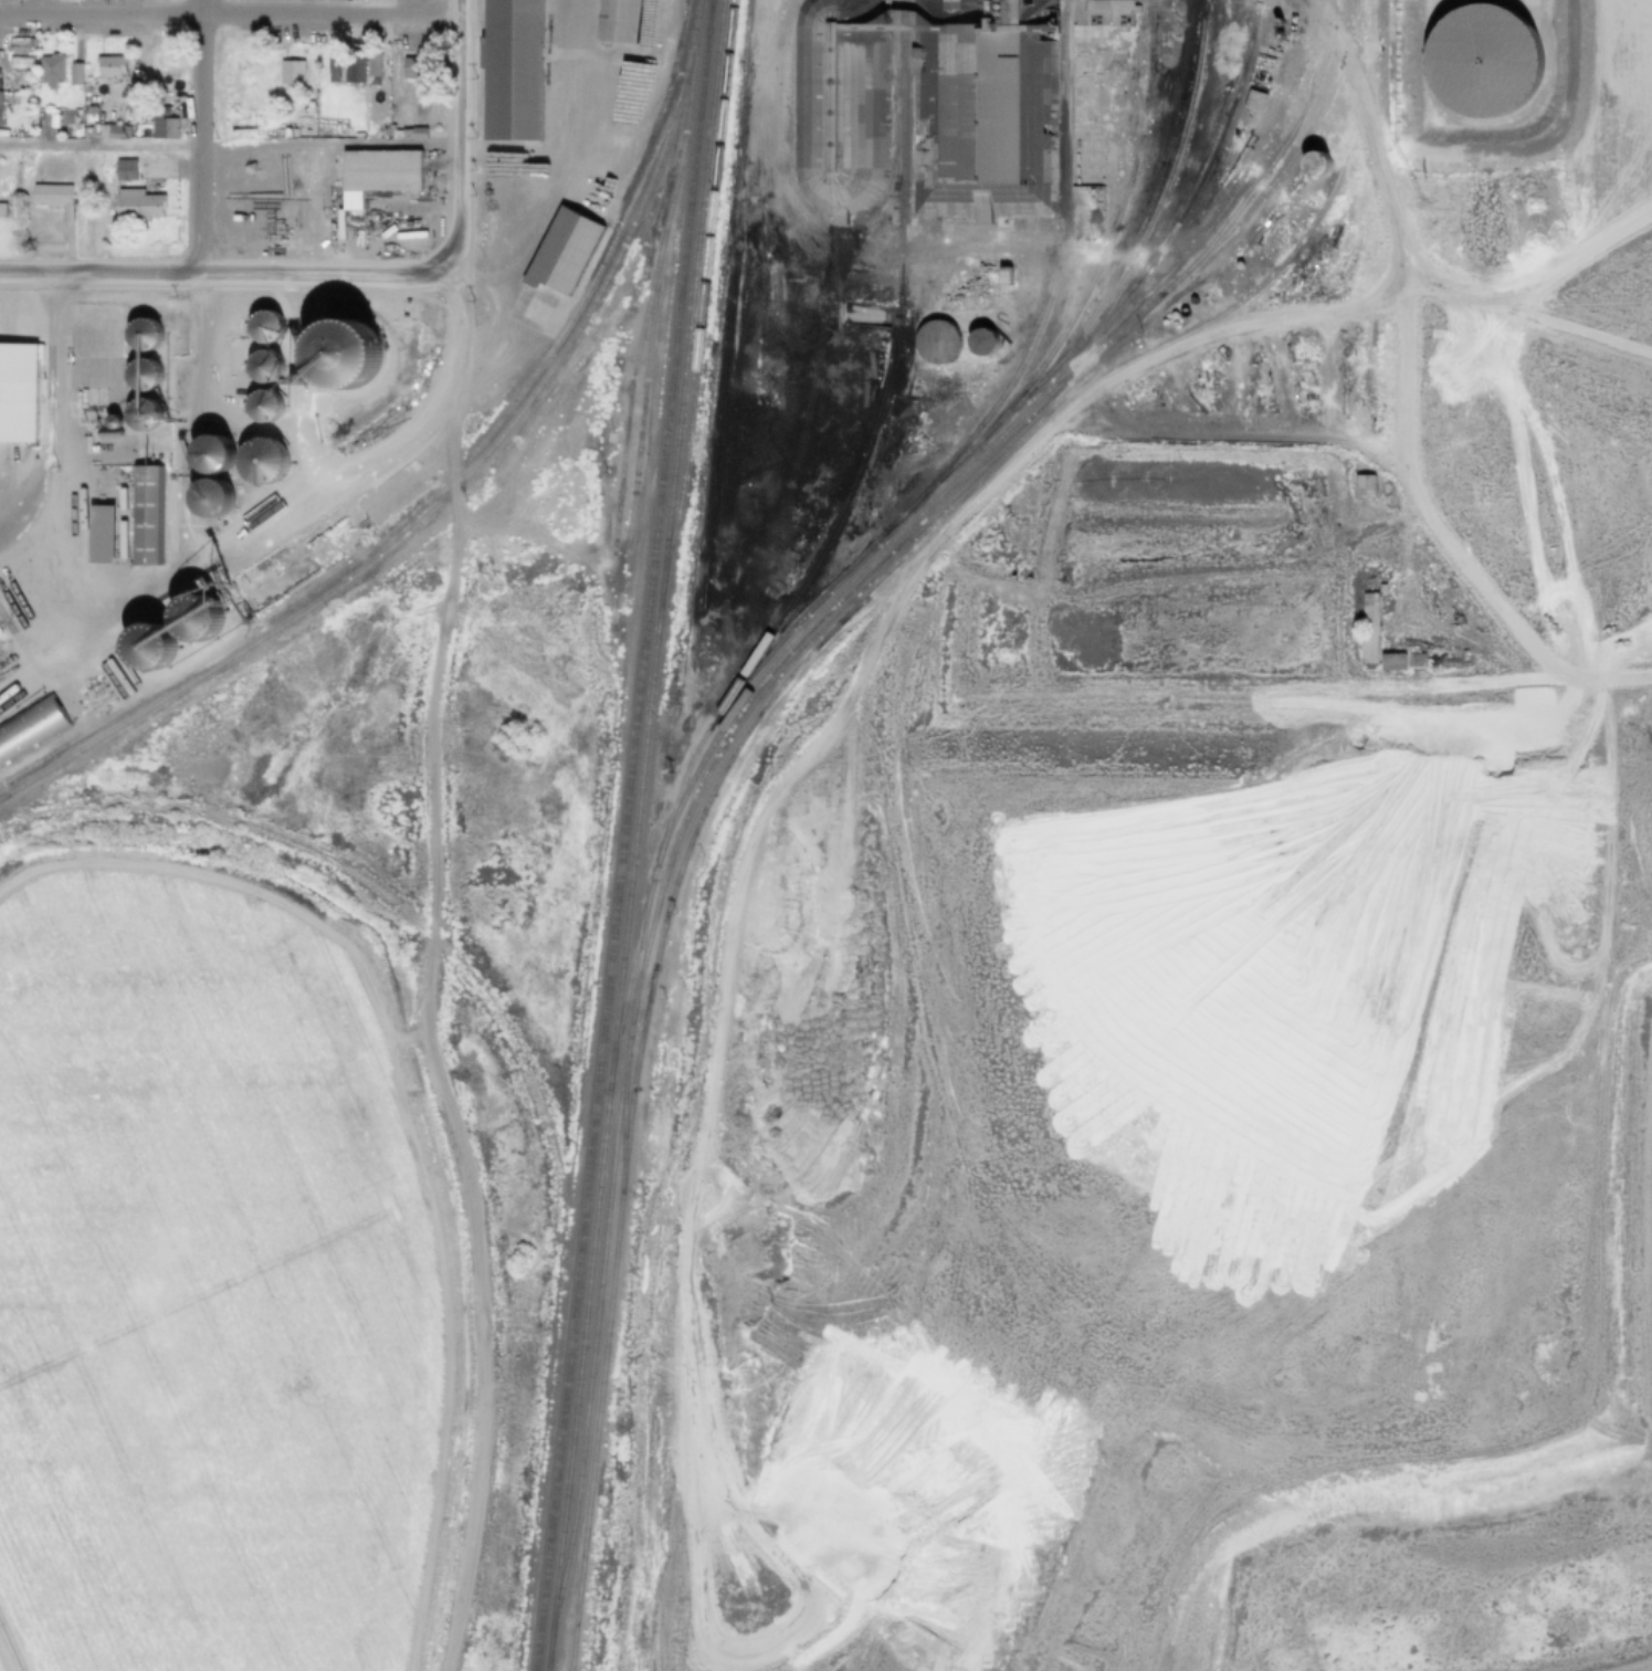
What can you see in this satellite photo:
building: (995, 0)
storage tank: (995, 0)
road: (1530, 2)
road: (1540, 2)
building: (996, 7)
storage tank: (996, 7)
building: (995, 14)
storage tank: (995, 14)
road: (228, 20)
building: (613, 20)
building: (1477, 61)
storage tank: (1477, 61)
building: (1098, 62)
building: (356, 65)
building: (106, 66)
building: (328, 66)
building: (411, 70)
building: (506, 70)
building: (46, 72)
building: (287, 73)
building: (71, 74)
building: (1254, 101)
building: (839, 103)
building: (977, 114)
road: (632, 119)
road: (1471, 124)
building: (337, 128)
building: (161, 129)
building: (112, 132)
building: (394, 134)
building: (415, 134)
road: (198, 137)
railway: (1303, 138)
road: (288, 144)
building: (1092, 153)
building: (1311, 164)
storage tank: (1311, 164)
building: (120, 169)
road: (545, 169)
building: (373, 174)
building: (50, 199)
building: (134, 204)
building: (259, 207)
building: (1, 209)
railway: (1109, 234)
building: (558, 255)
road: (1574, 259)
railway: (1056, 261)
building: (927, 262)
storage tank: (927, 262)
building: (1020, 265)
storage tank: (1020, 265)
road: (222, 274)
building: (967, 284)
railway: (704, 286)
road: (1374, 303)
building: (1002, 304)
railway: (652, 308)
building: (998, 315)
storage tank: (998, 315)
road: (1521, 316)
building: (1016, 326)
storage tank: (1016, 326)
road: (46, 328)
building: (934, 341)
storage tank: (934, 341)
building: (978, 341)
storage tank: (978, 341)
railway: (890, 369)
building: (45, 372)
road: (45, 372)
road: (1398, 380)
road: (60, 400)
building: (84, 408)
railway: (627, 414)
road: (154, 417)
railway: (971, 449)
building: (209, 455)
silo: (209, 455)
road: (1016, 466)
building: (1362, 483)
railway: (454, 487)
building: (388, 493)
building: (209, 498)
silo: (209, 498)
railway: (930, 502)
railway: (408, 516)
building: (97, 526)
road: (22, 611)
building: (208, 612)
building: (1367, 628)
road: (101, 631)
building: (12, 641)
silo: (12, 641)
building: (20, 659)
silo: (20, 659)
building: (1416, 659)
building: (1390, 660)
road: (38, 685)
road: (78, 692)
railway: (749, 707)
railway: (758, 716)
building: (28, 727)
road: (431, 835)
railway: (622, 835)
railway: (634, 835)
railway: (623, 1123)
road: (725, 1281)
road: (2, 1664)

